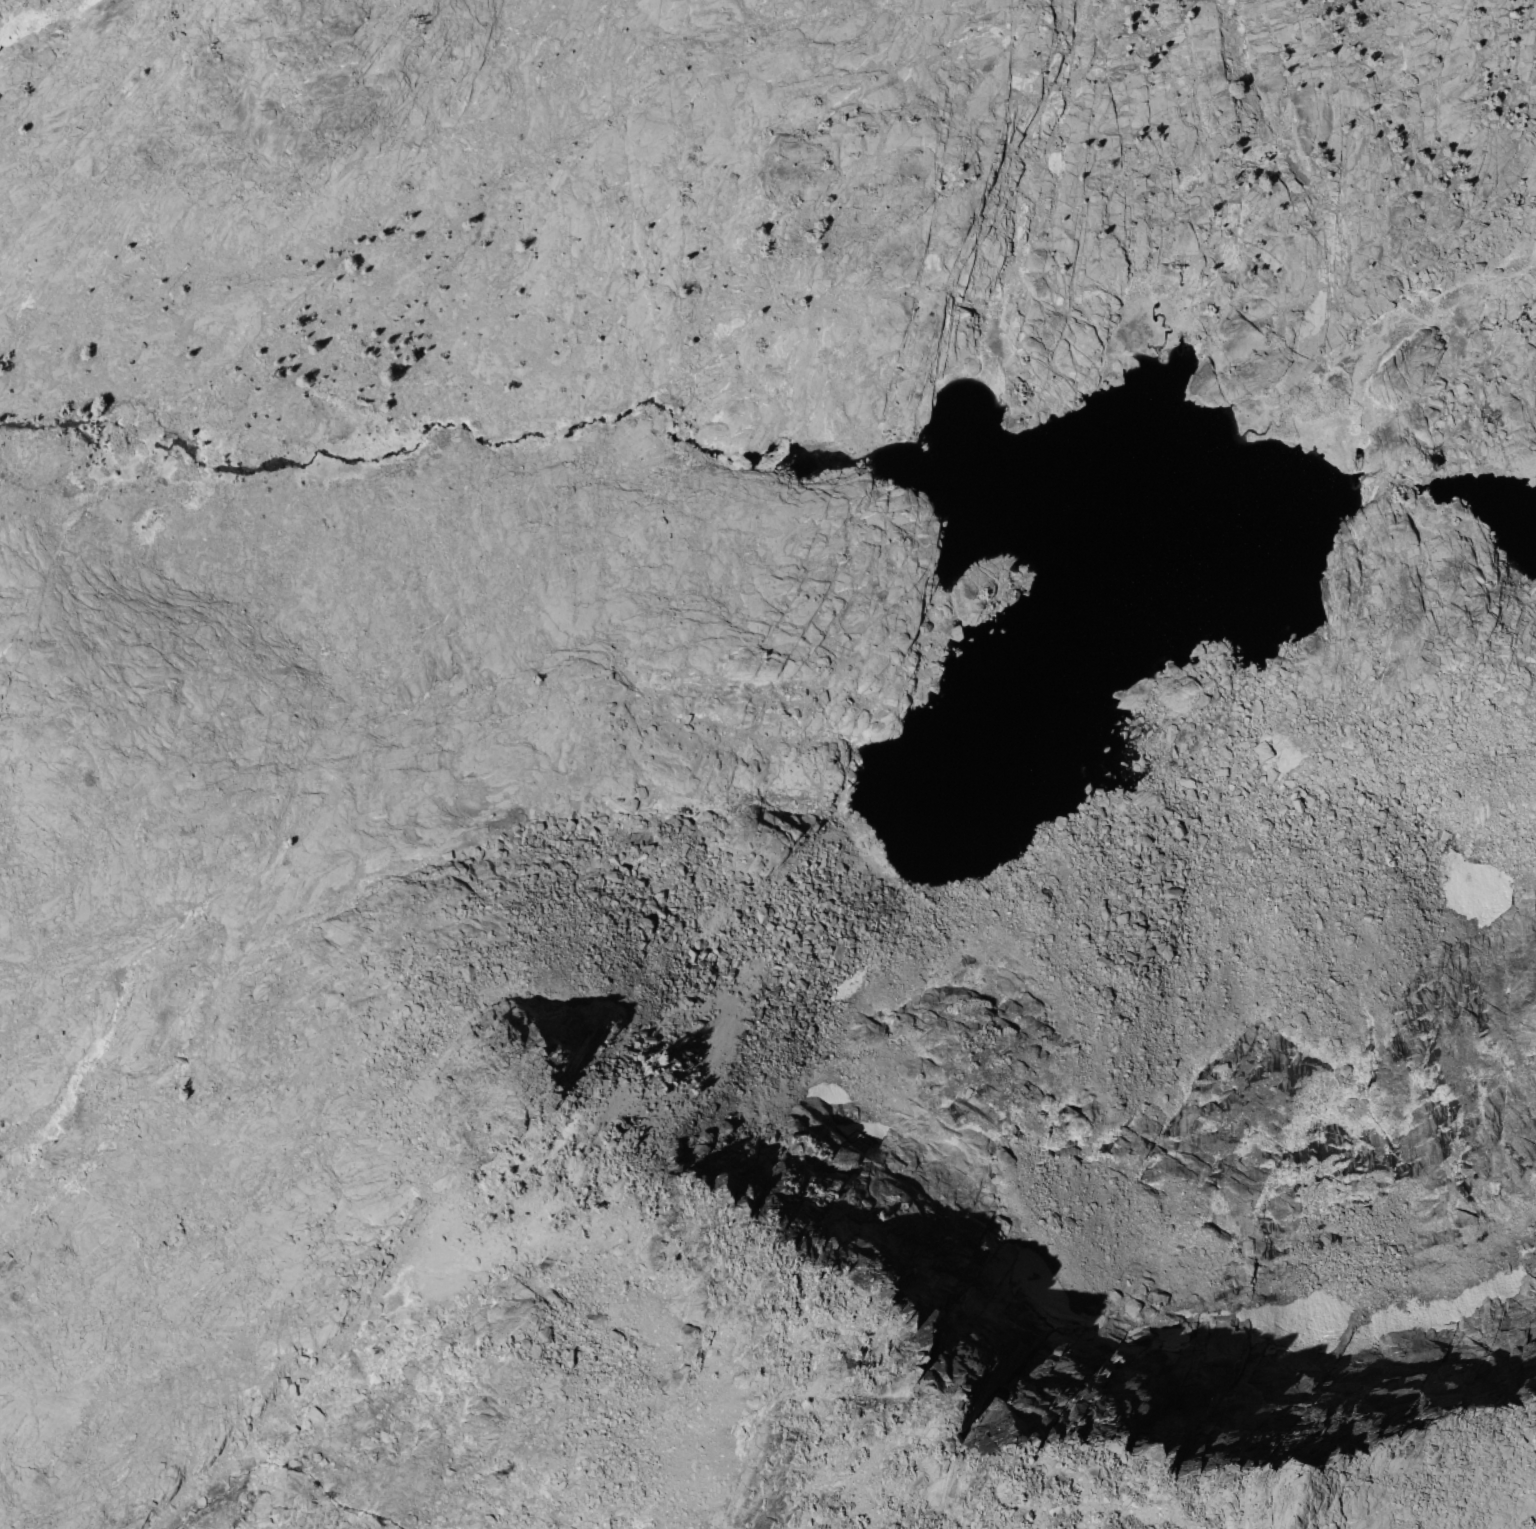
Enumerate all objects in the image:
road: (1461, 1477)

